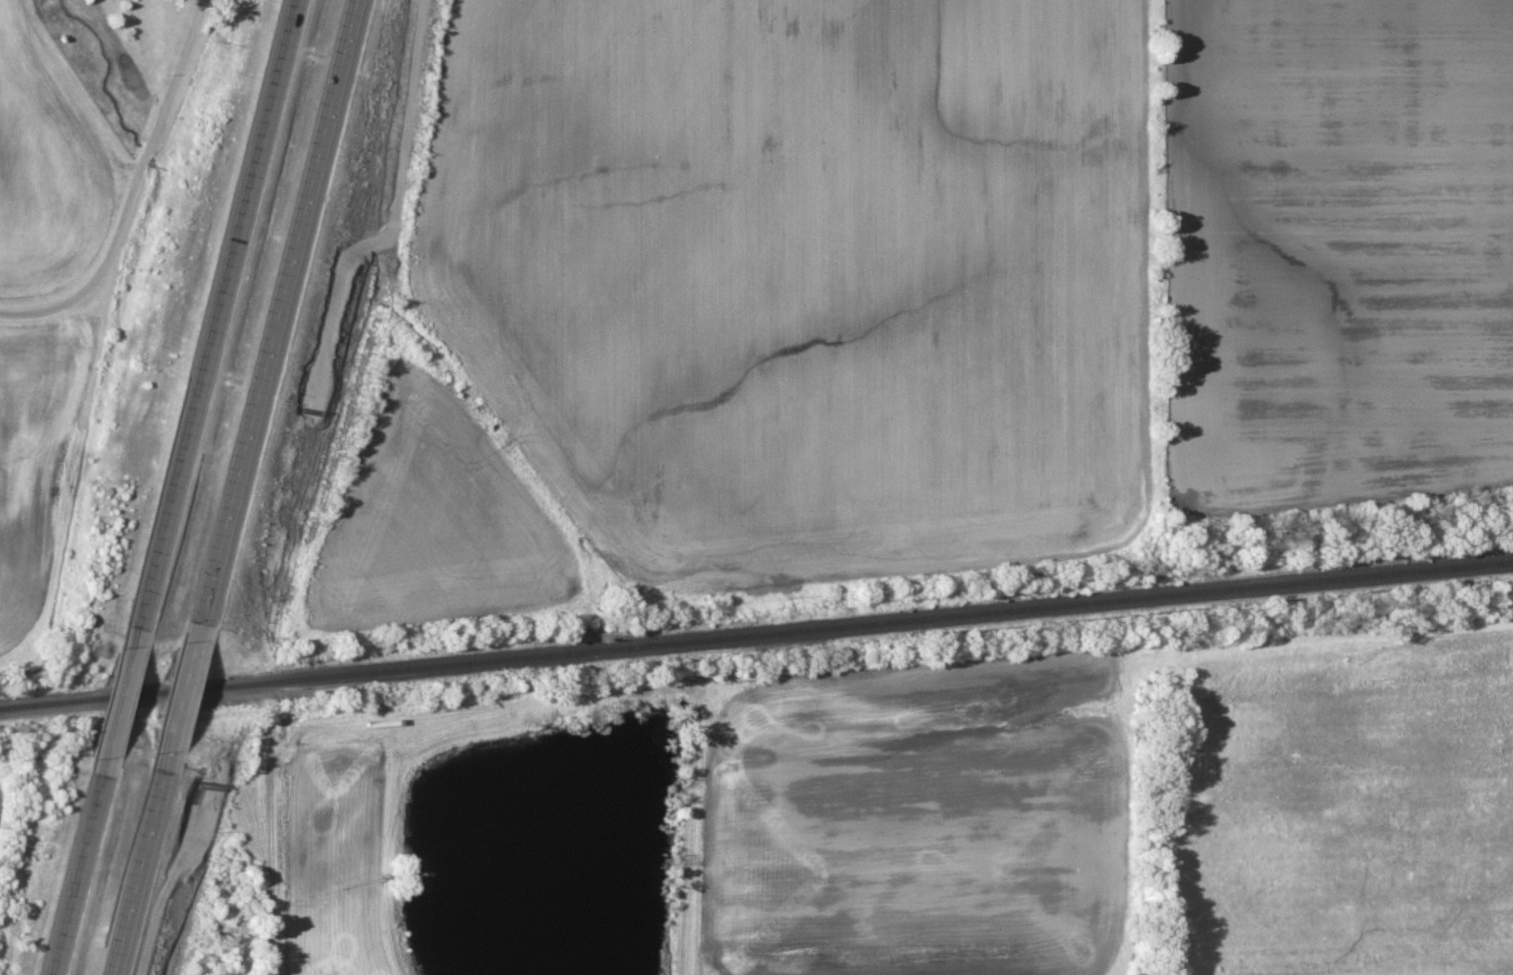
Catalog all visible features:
road: (134, 191)
road: (276, 308)
road: (213, 311)
railway: (756, 636)
road: (183, 689)
road: (122, 695)
road: (138, 868)
road: (77, 871)

